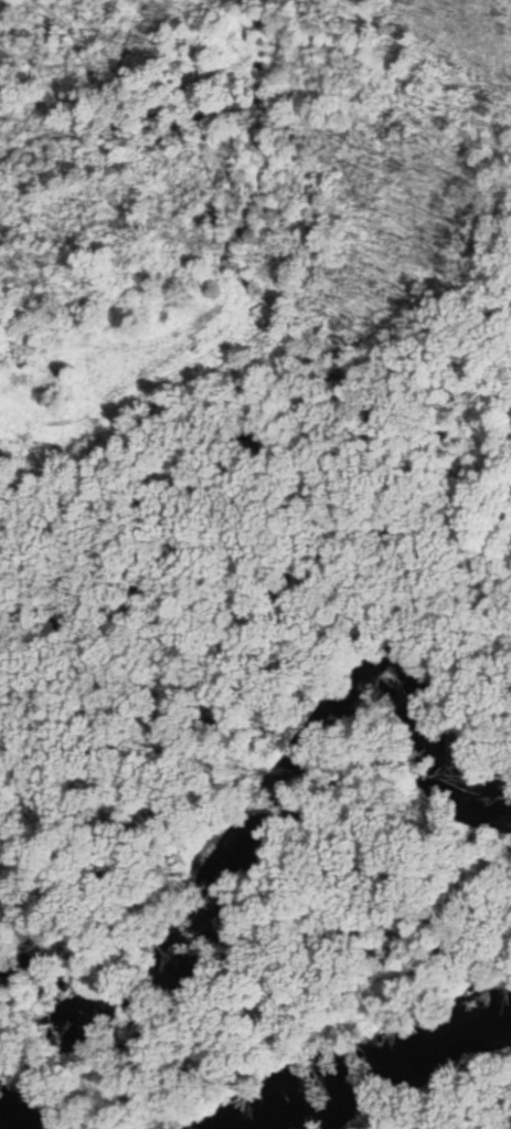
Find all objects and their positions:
river: (365, 1059)
river: (11, 1119)

